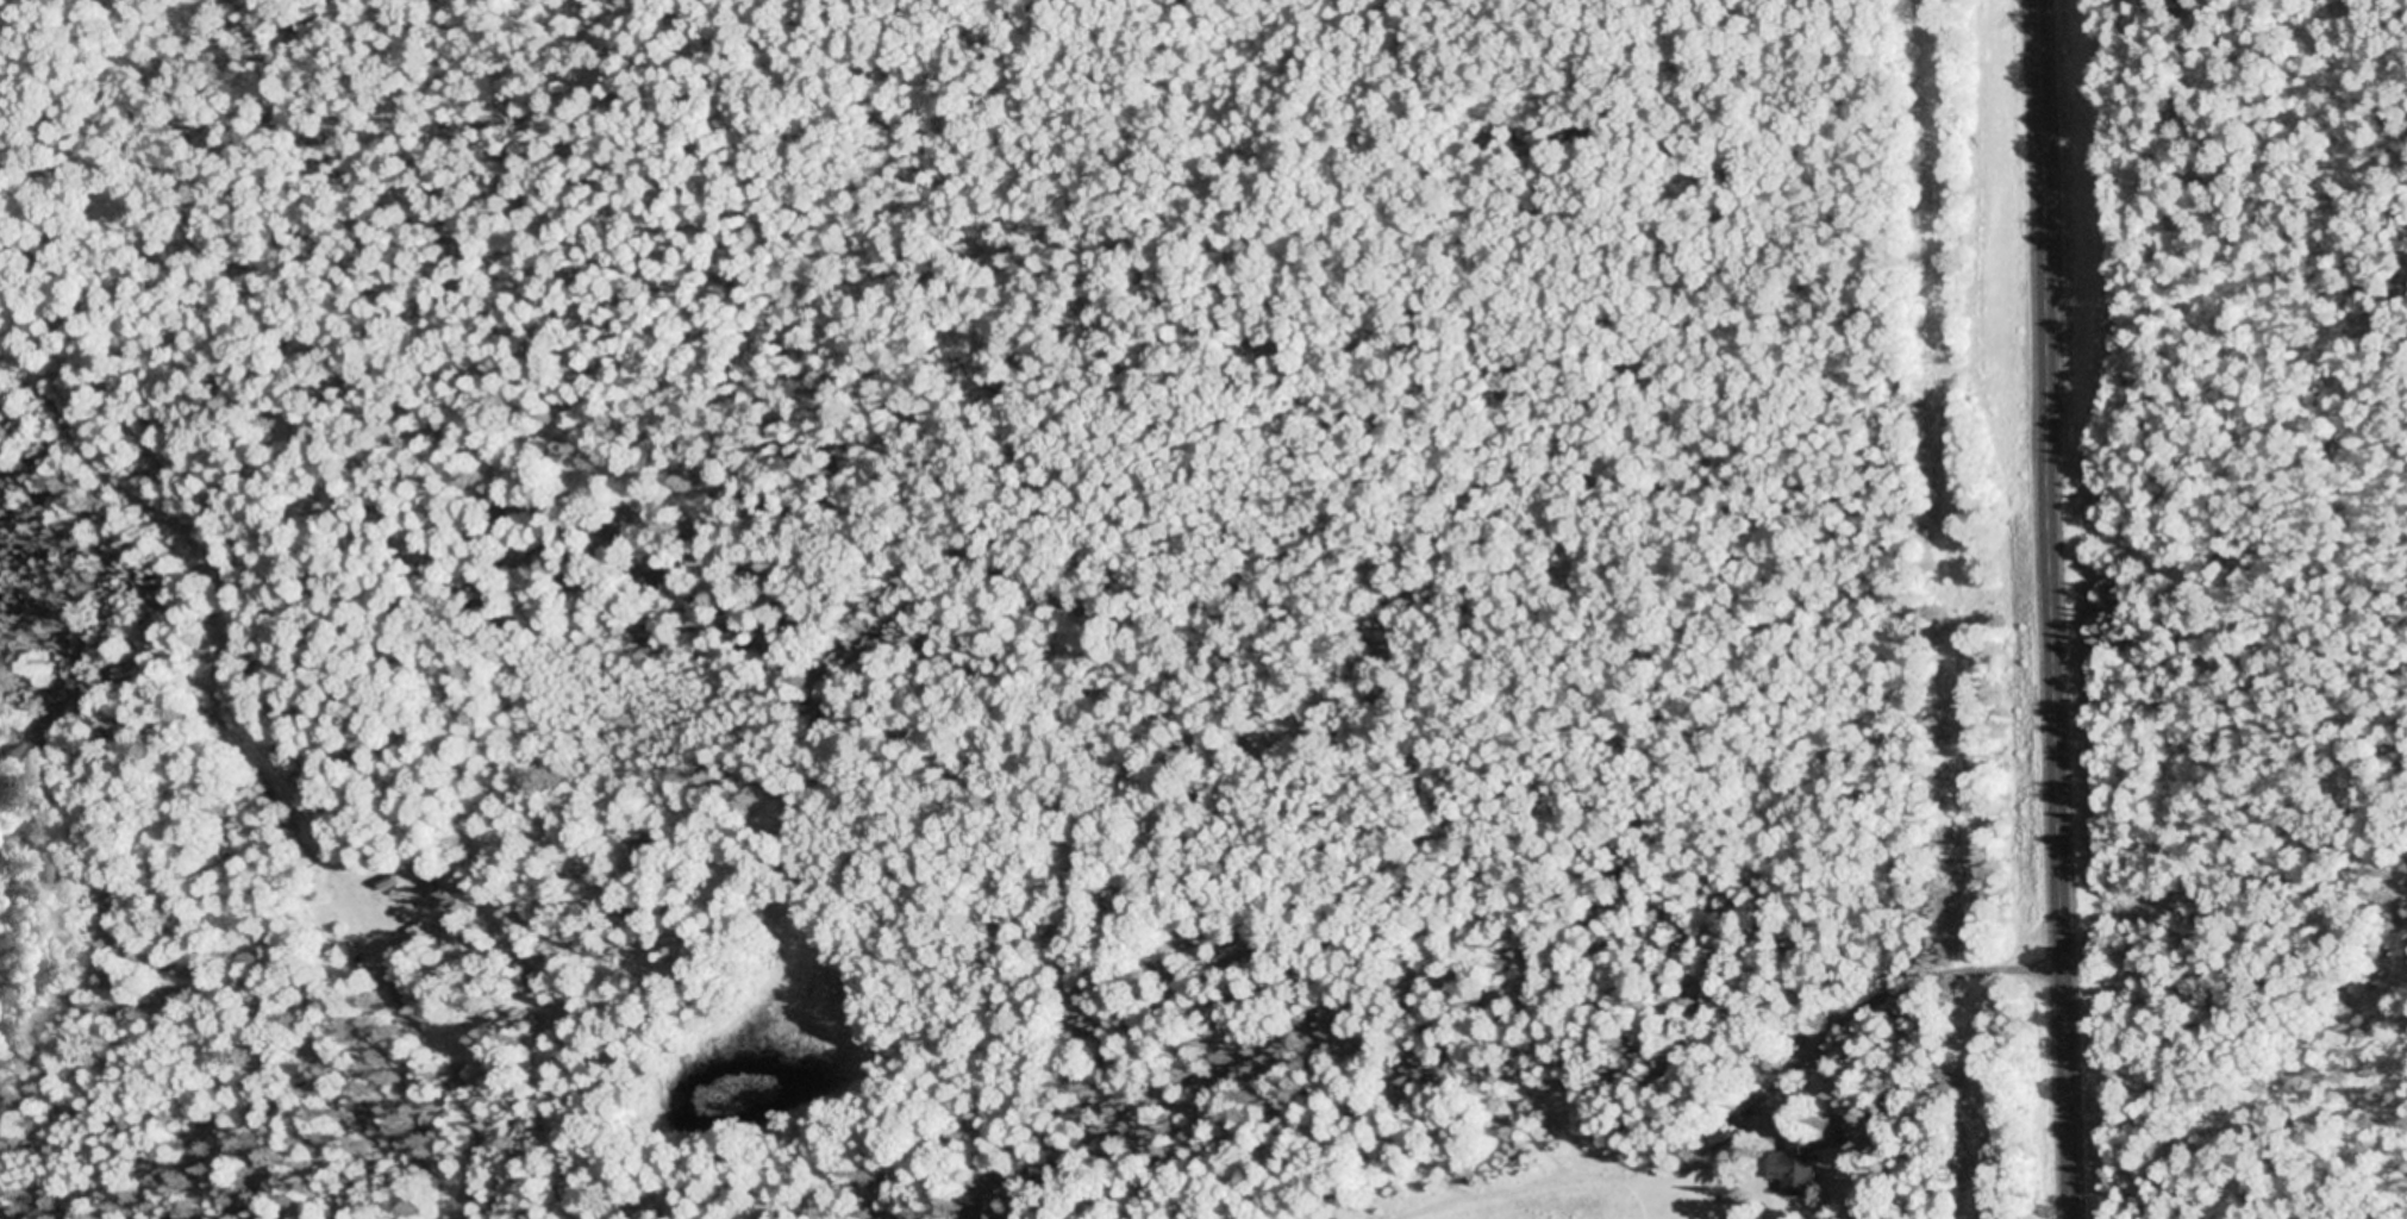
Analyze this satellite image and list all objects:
road: (2063, 608)
building: (1800, 1164)

